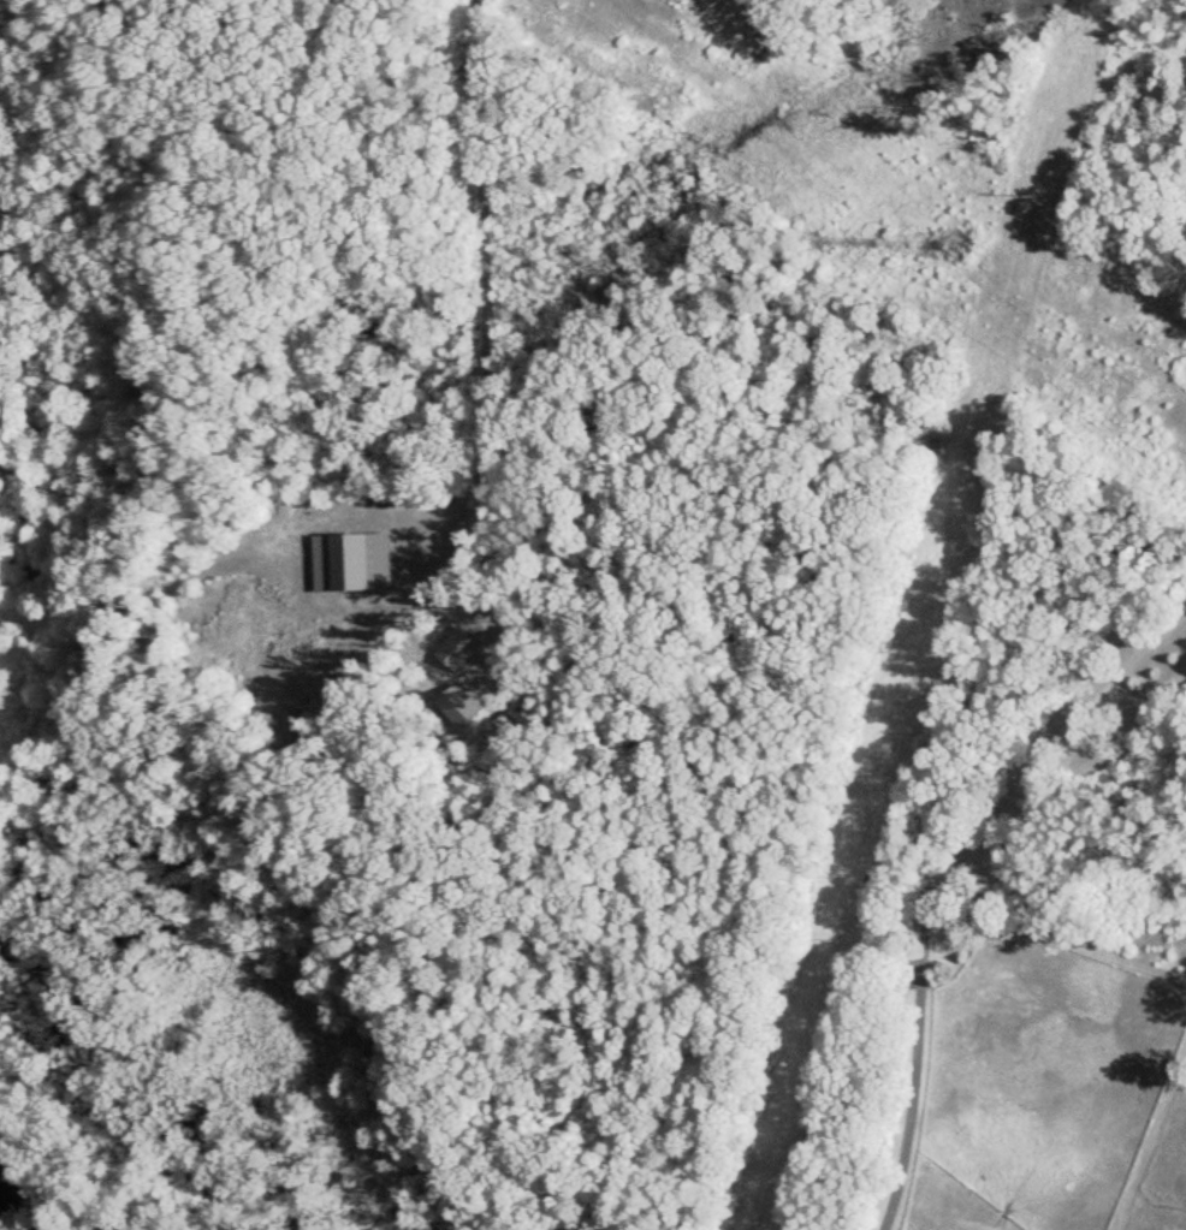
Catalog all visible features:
power tower: (967, 240)
road: (486, 313)
road: (945, 874)

